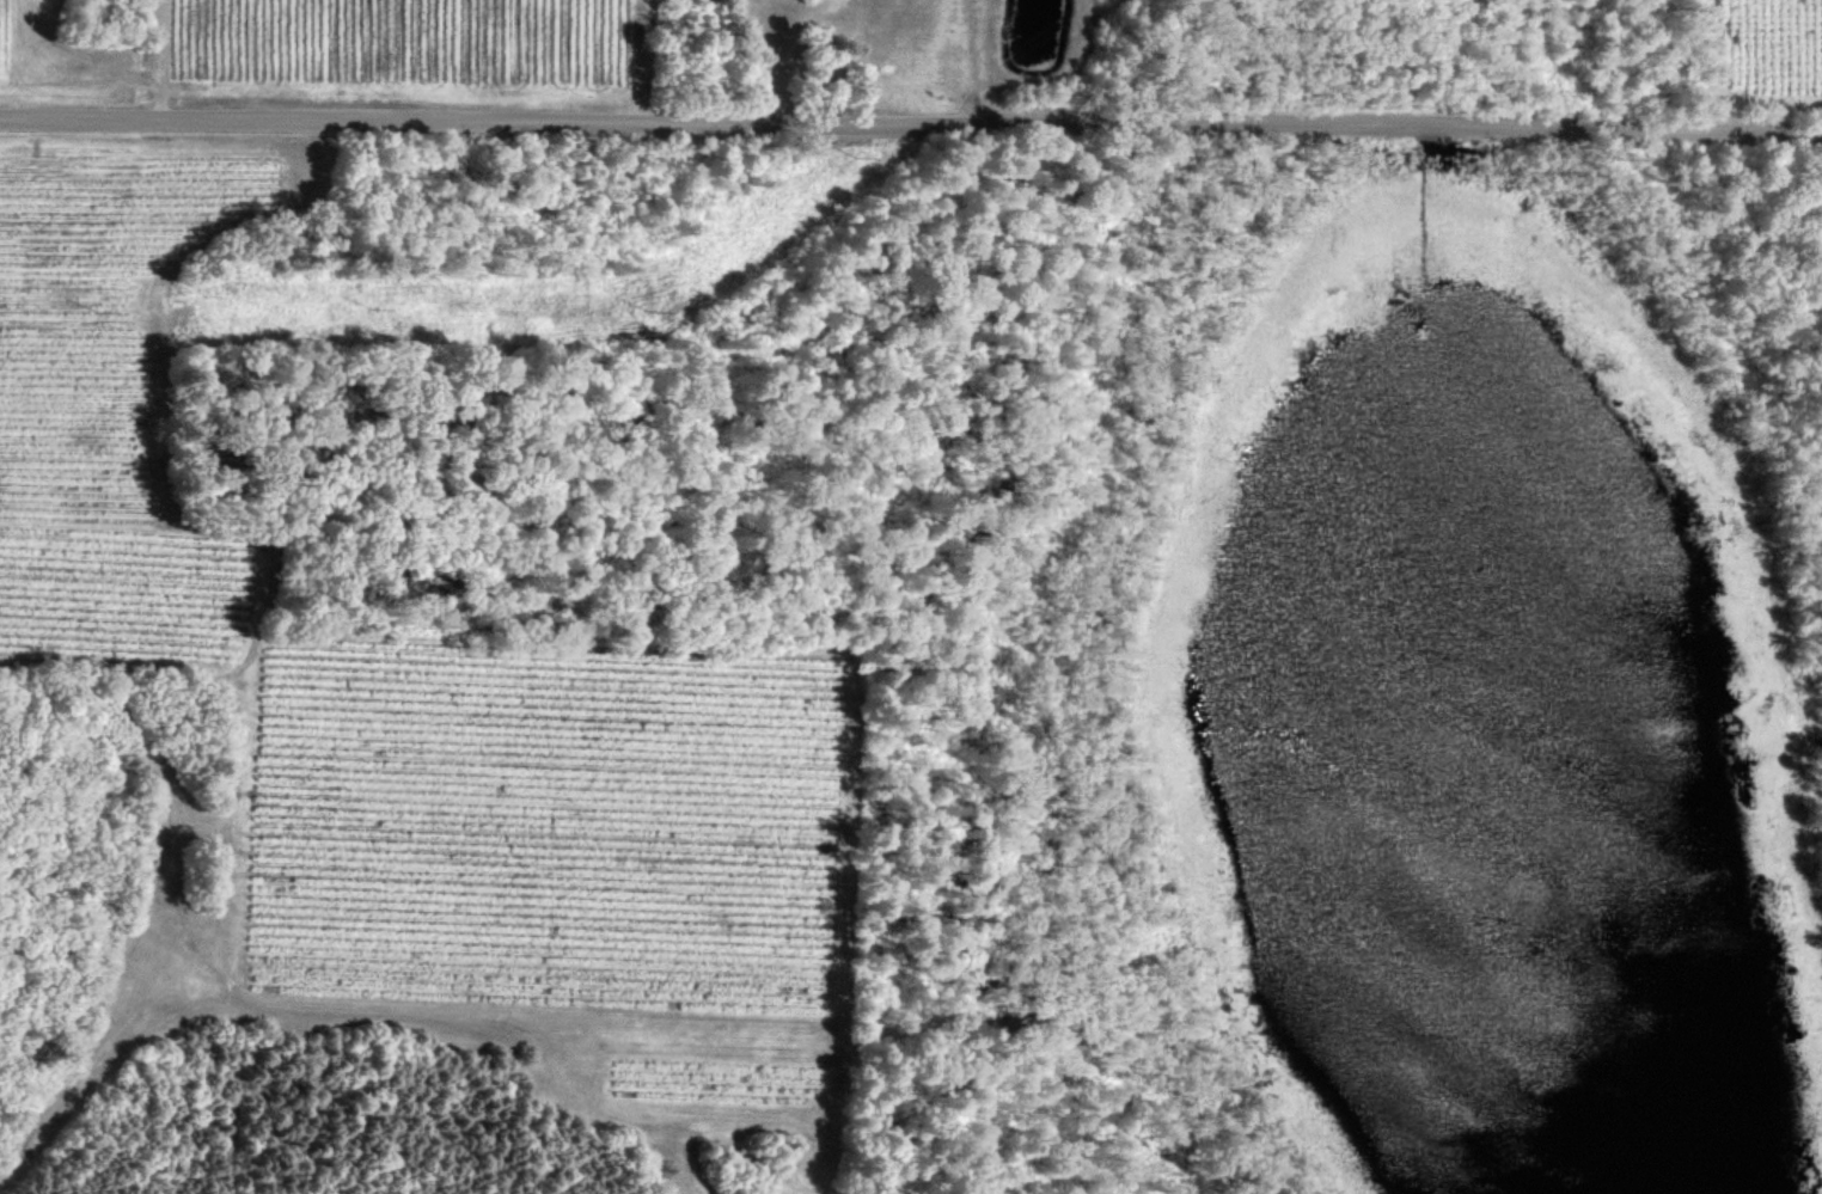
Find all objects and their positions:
road: (911, 125)

